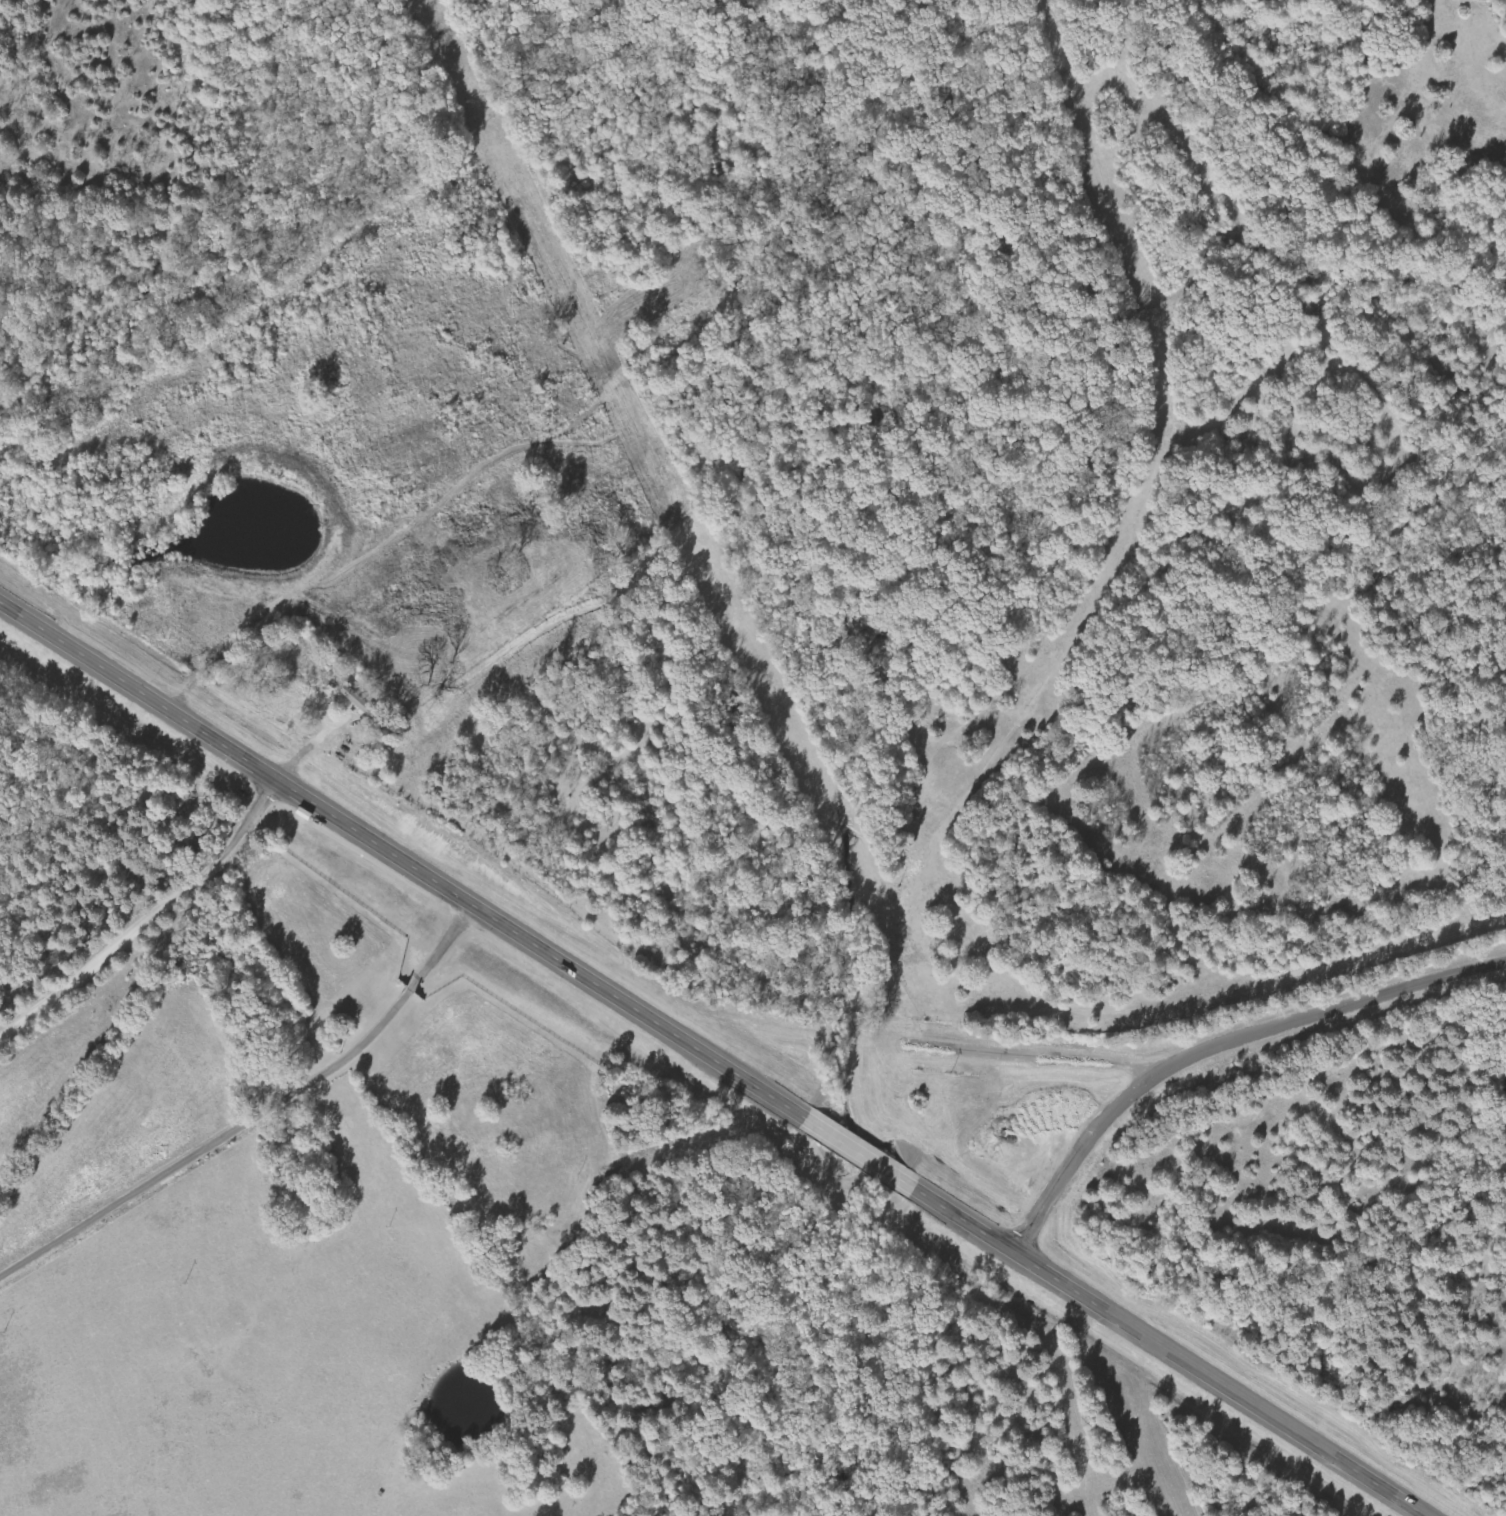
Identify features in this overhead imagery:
building: (361, 702)
road: (211, 875)
road: (63, 995)
road: (1219, 1048)
road: (714, 1060)
road: (258, 1119)

